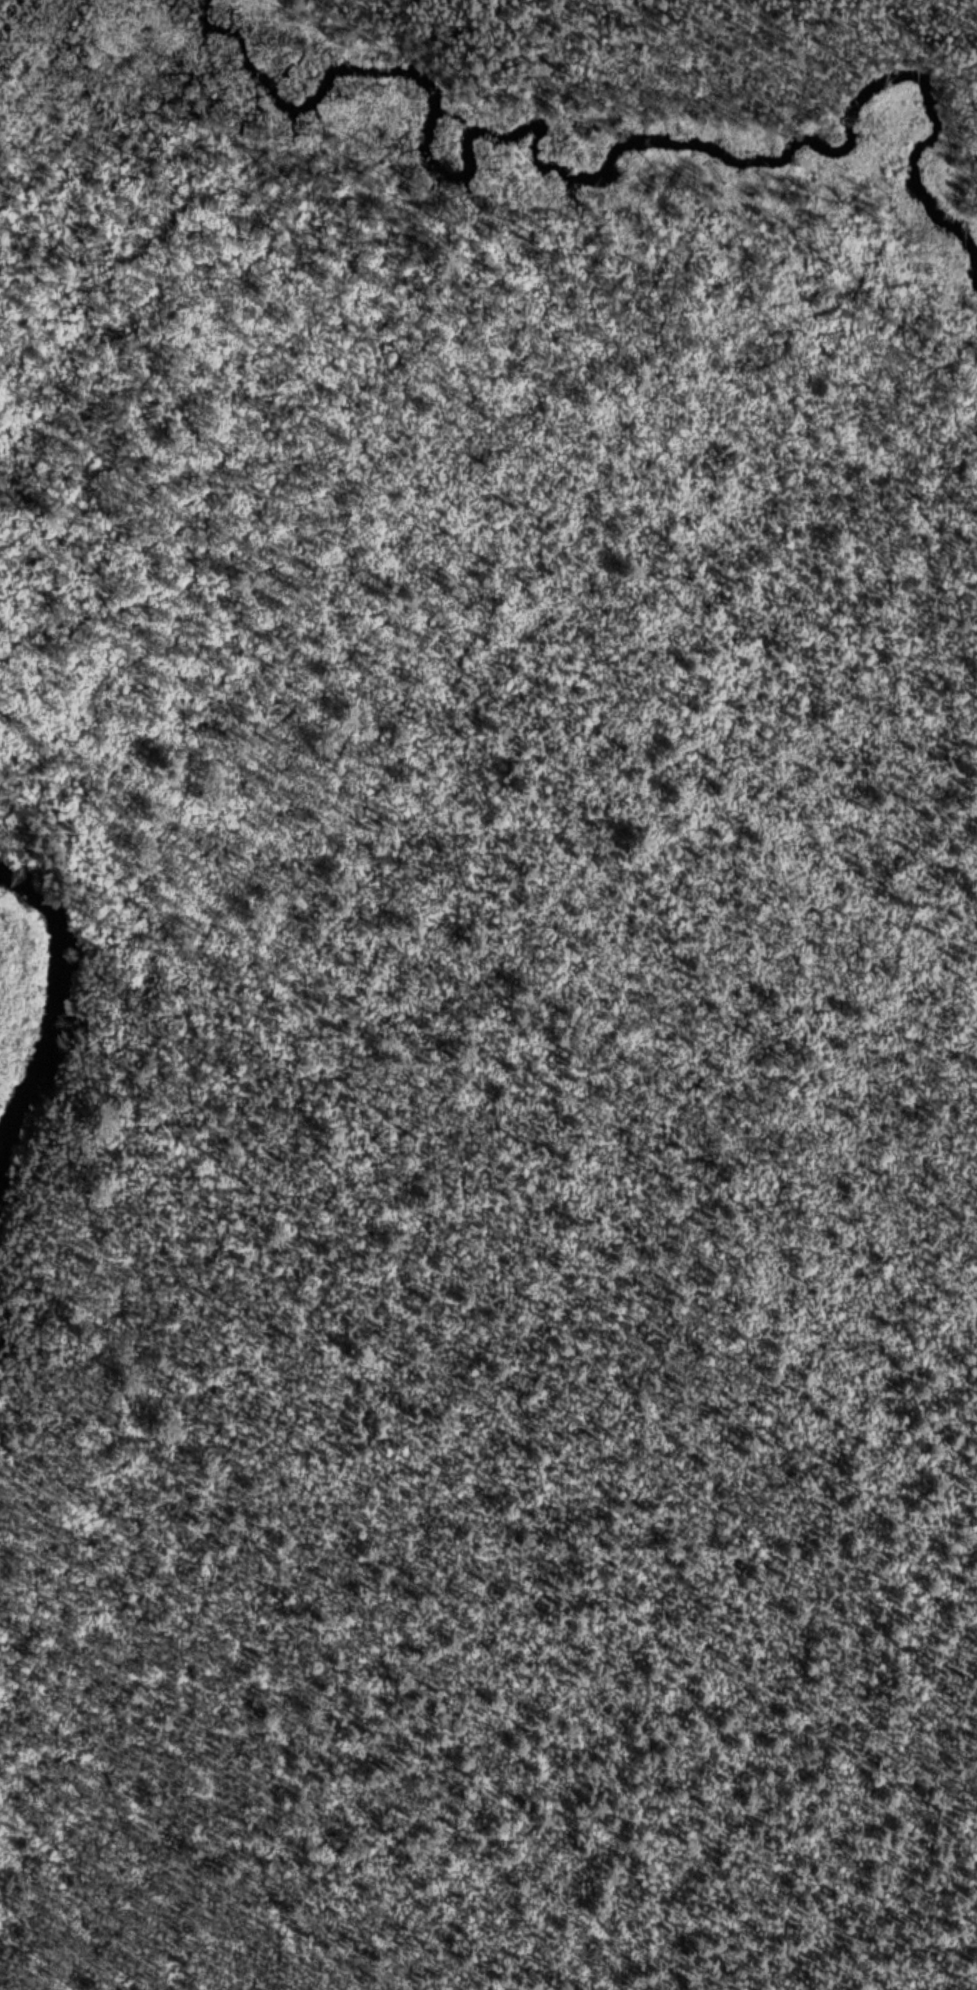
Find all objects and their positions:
river: (55, 995)

